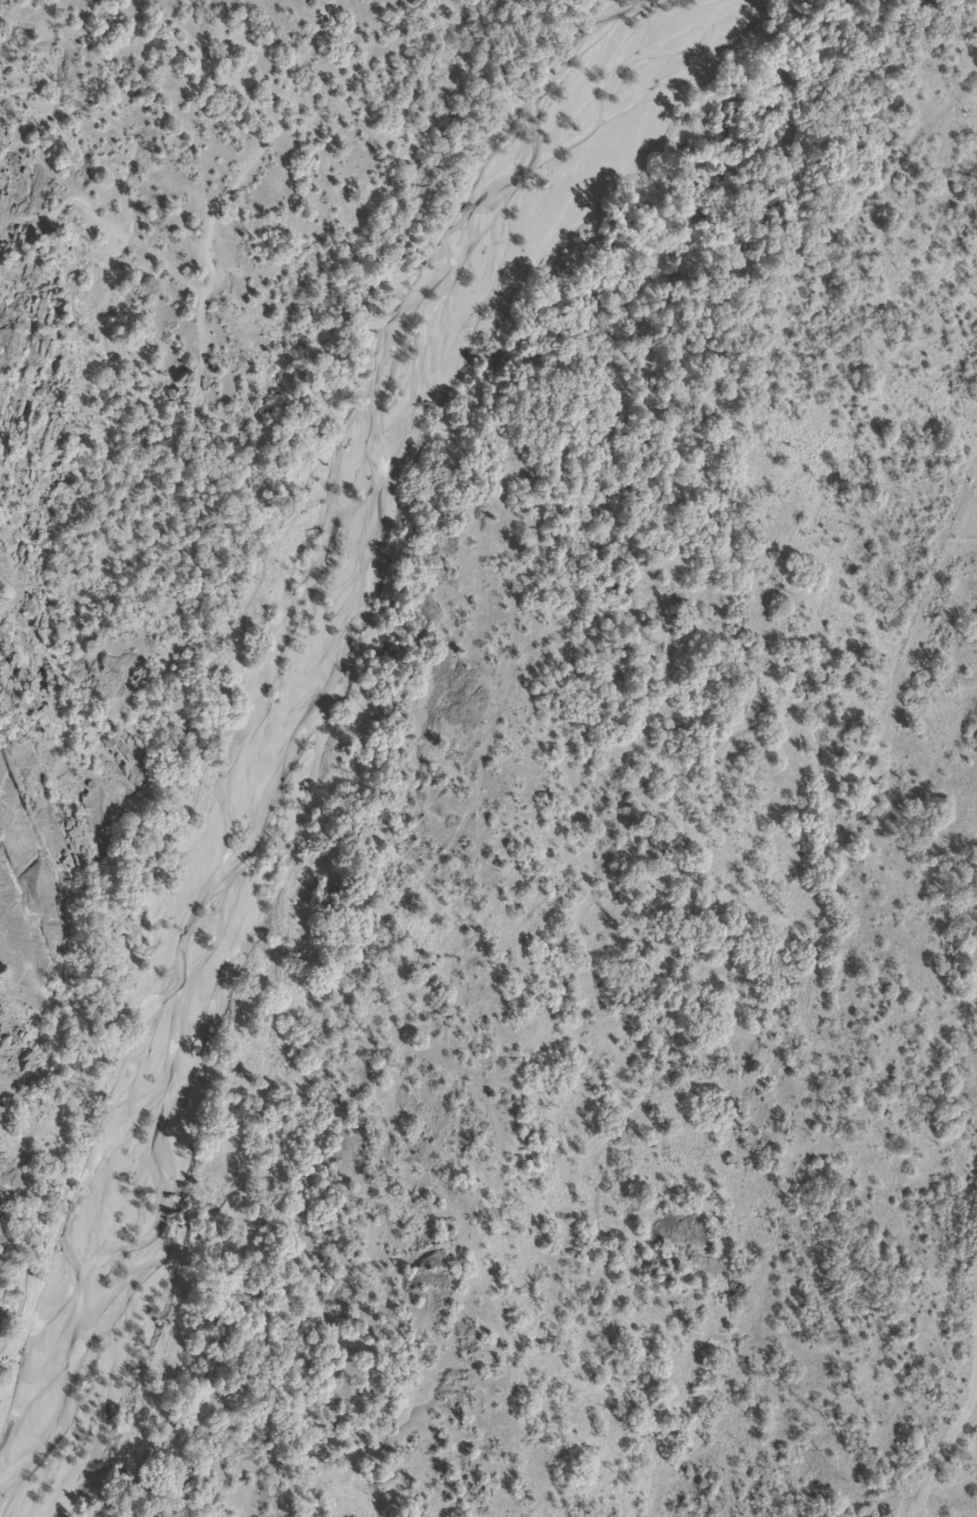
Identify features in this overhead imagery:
river: (292, 698)
road: (949, 1439)

